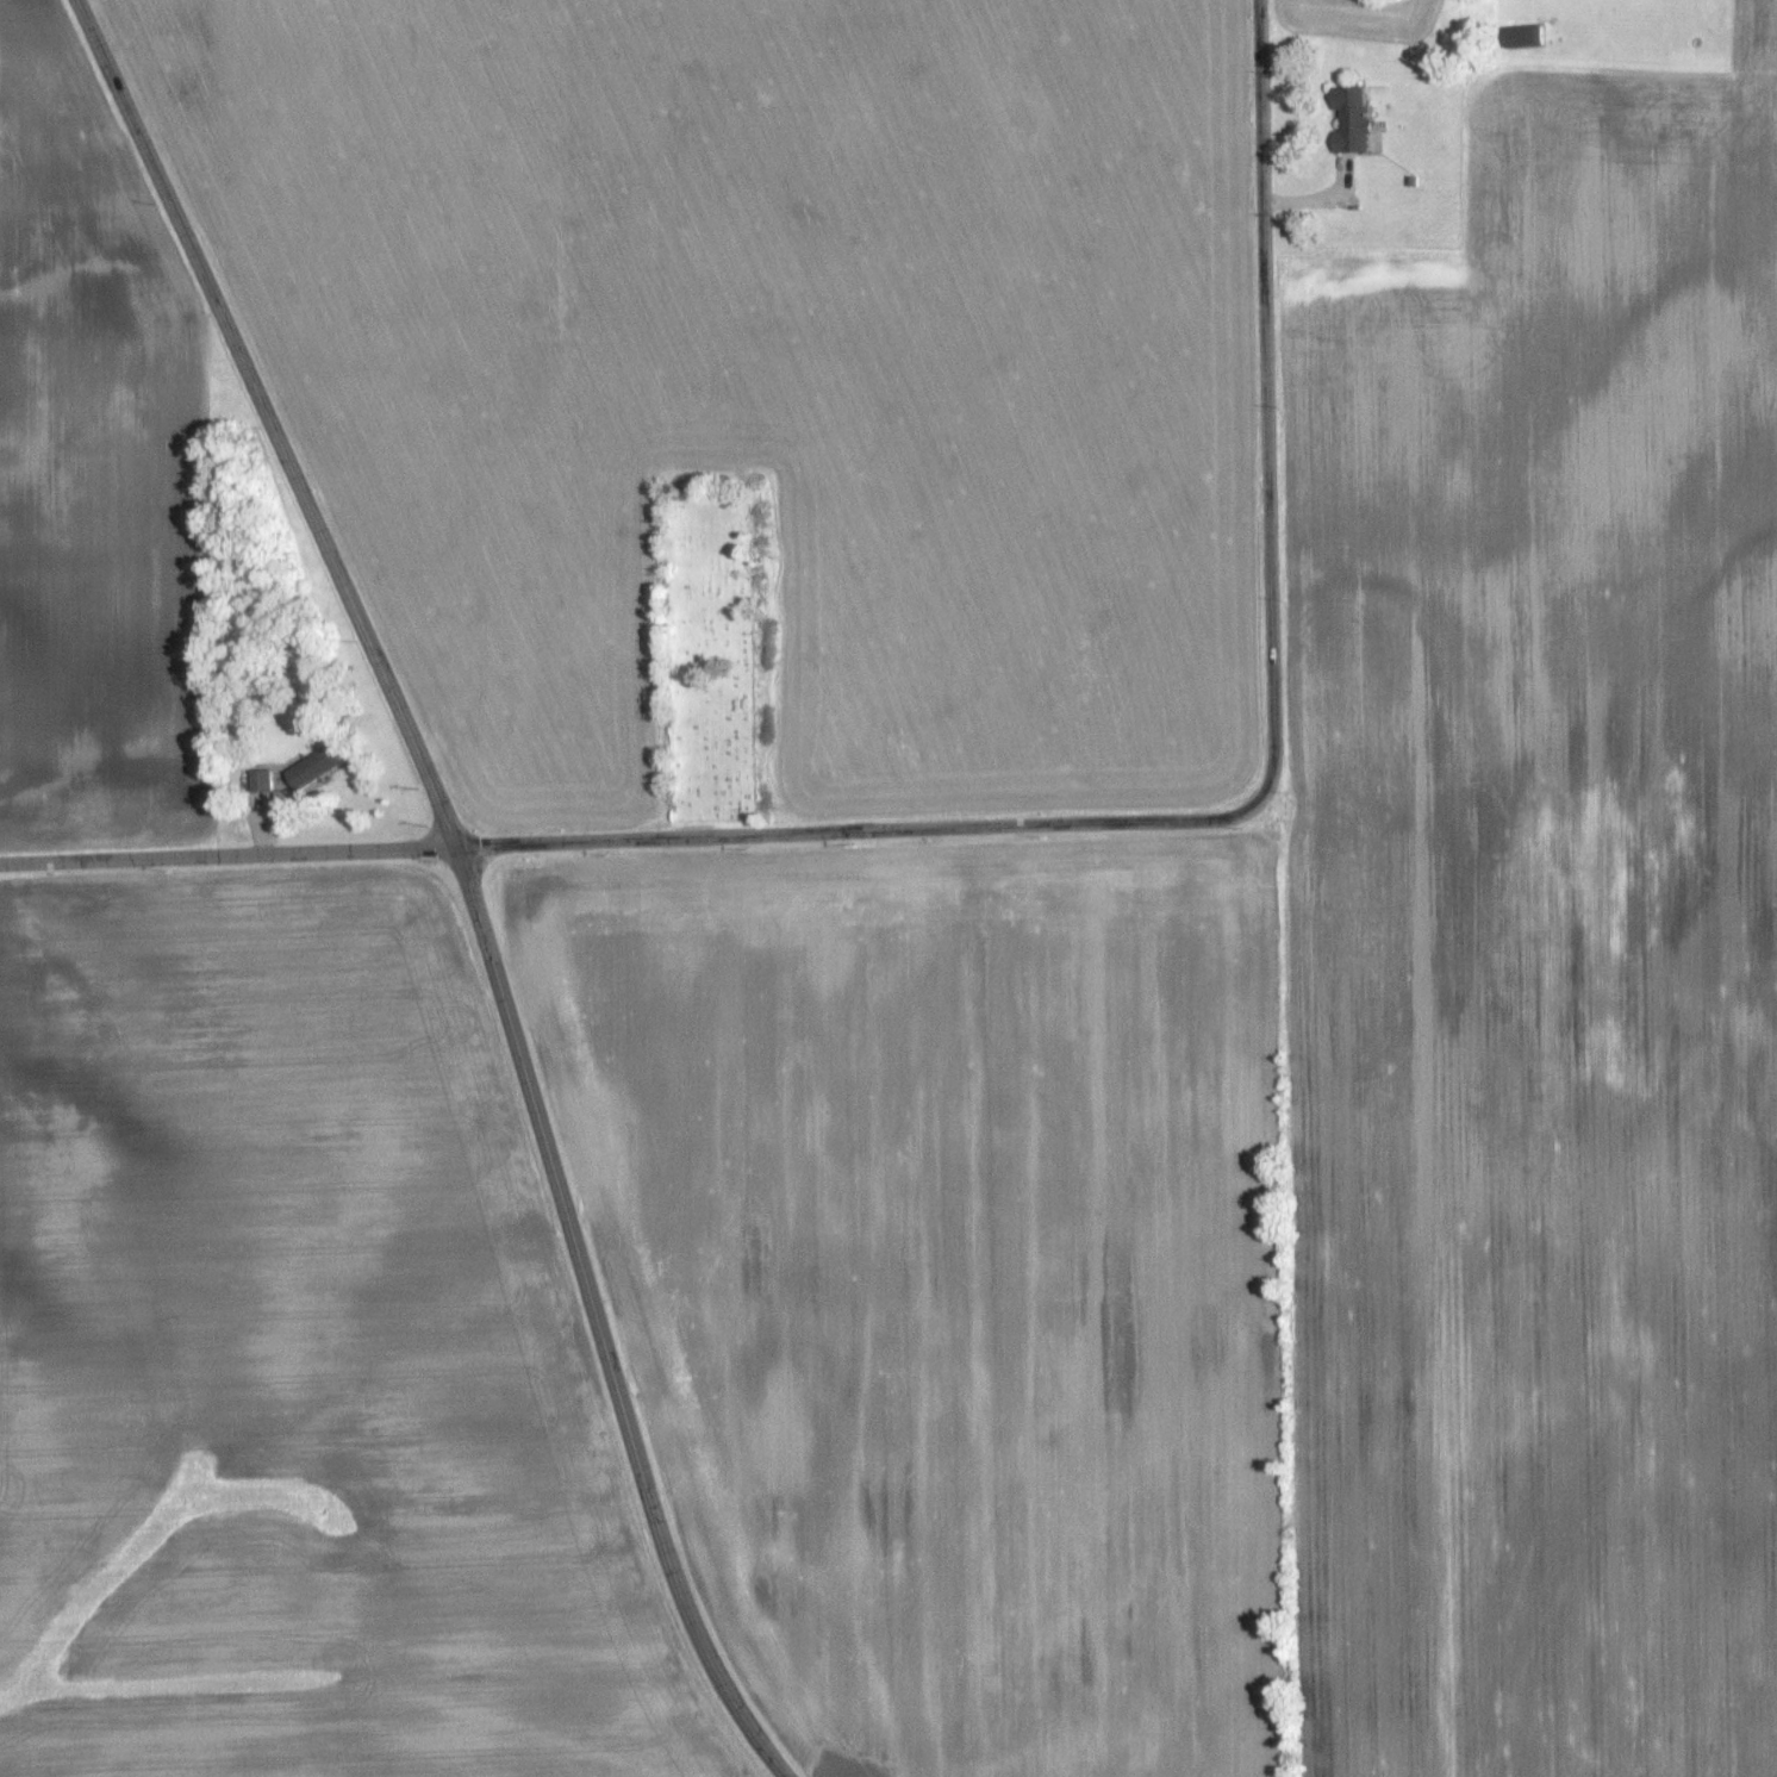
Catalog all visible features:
building: (1528, 36)
building: (1354, 119)
road: (1267, 399)
building: (317, 766)
building: (263, 779)
road: (635, 837)
road: (464, 878)

